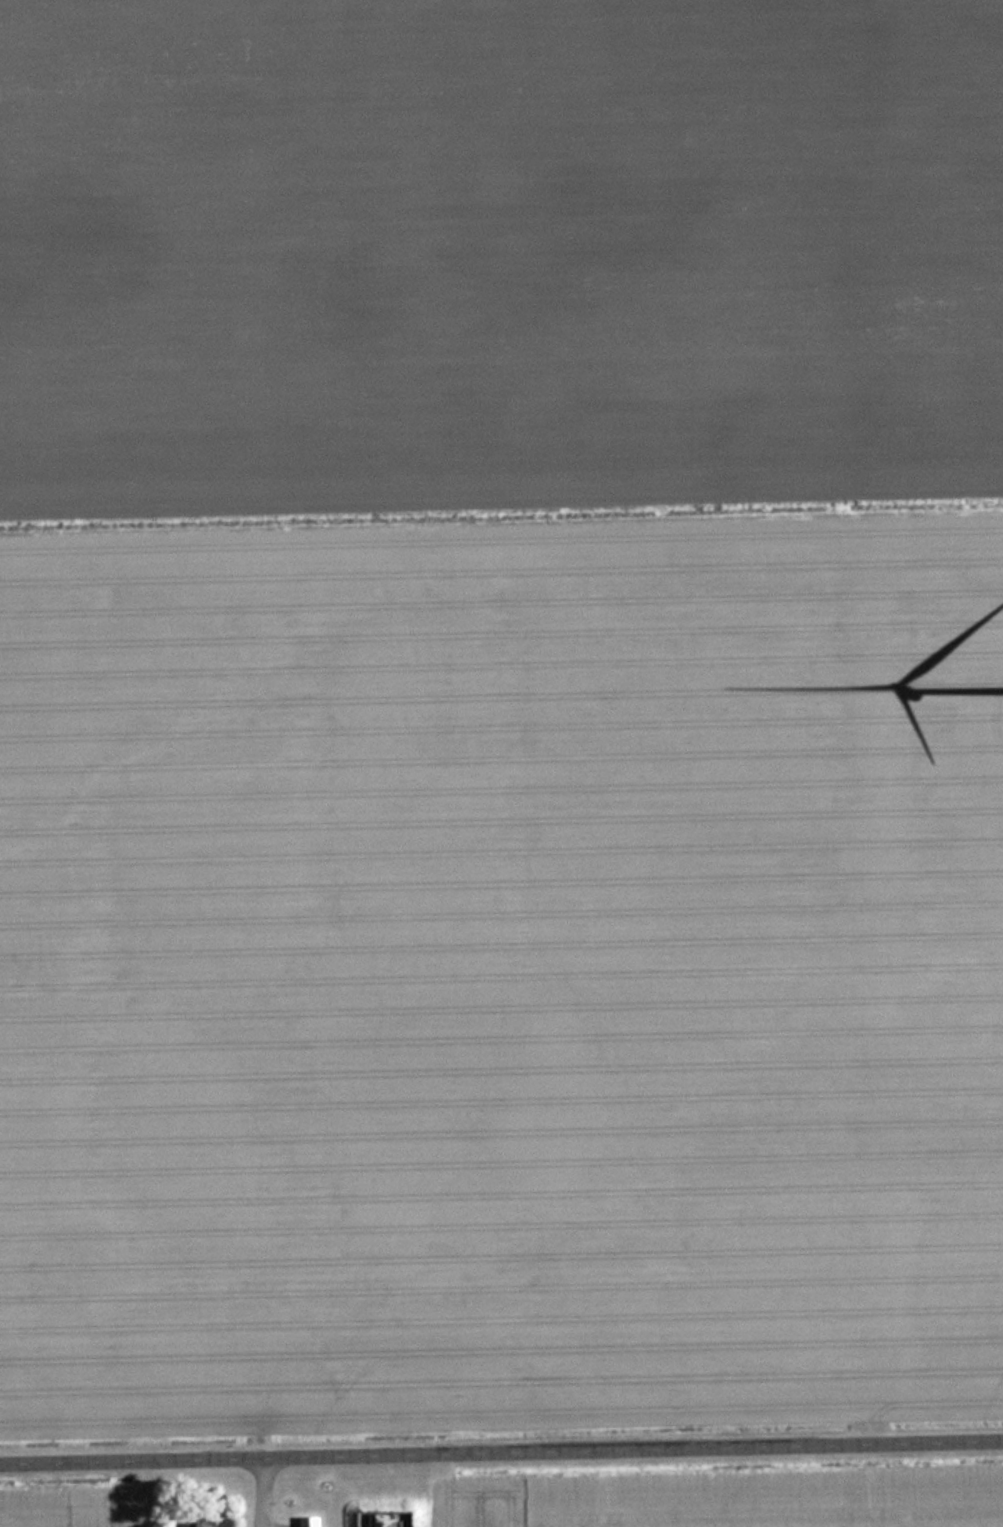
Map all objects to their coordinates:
road: (501, 1454)
building: (312, 1522)

